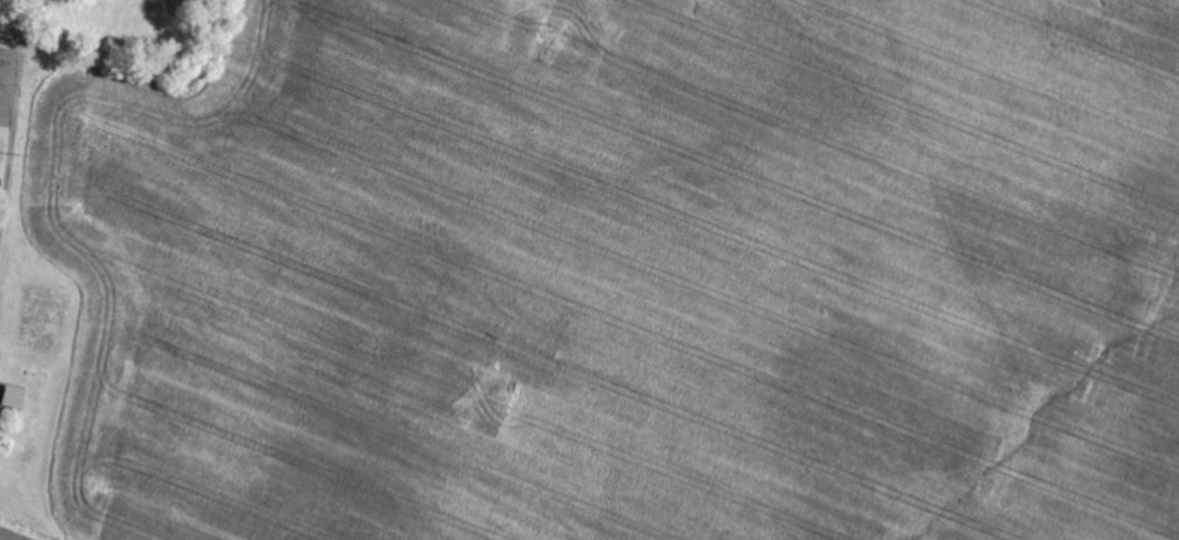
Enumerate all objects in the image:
building: (14, 399)

